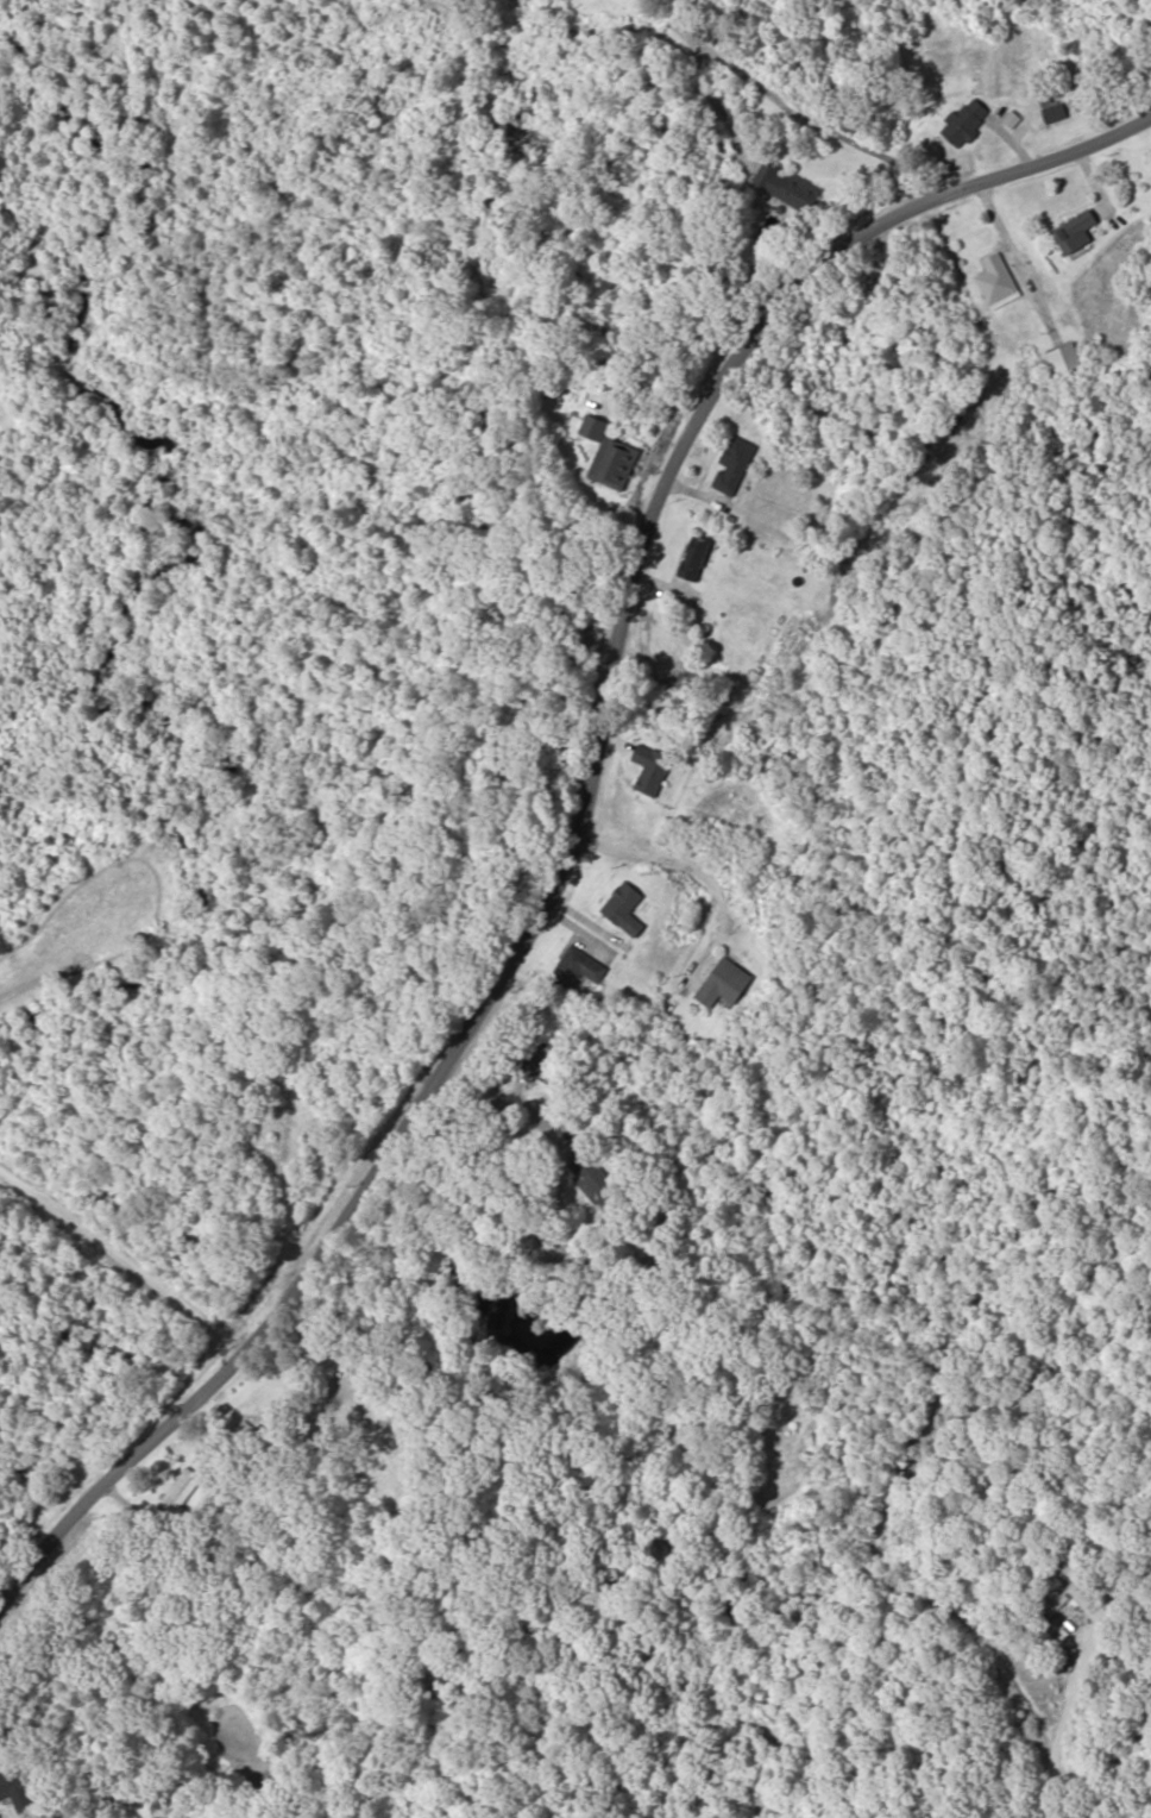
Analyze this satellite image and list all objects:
building: (1052, 108)
building: (964, 123)
building: (790, 188)
building: (1075, 231)
building: (995, 277)
building: (1065, 359)
building: (609, 454)
building: (734, 464)
building: (693, 557)
building: (652, 769)
road: (584, 809)
building: (624, 909)
building: (577, 968)
building: (723, 983)
building: (352, 1409)
building: (180, 1493)
building: (14, 1789)

